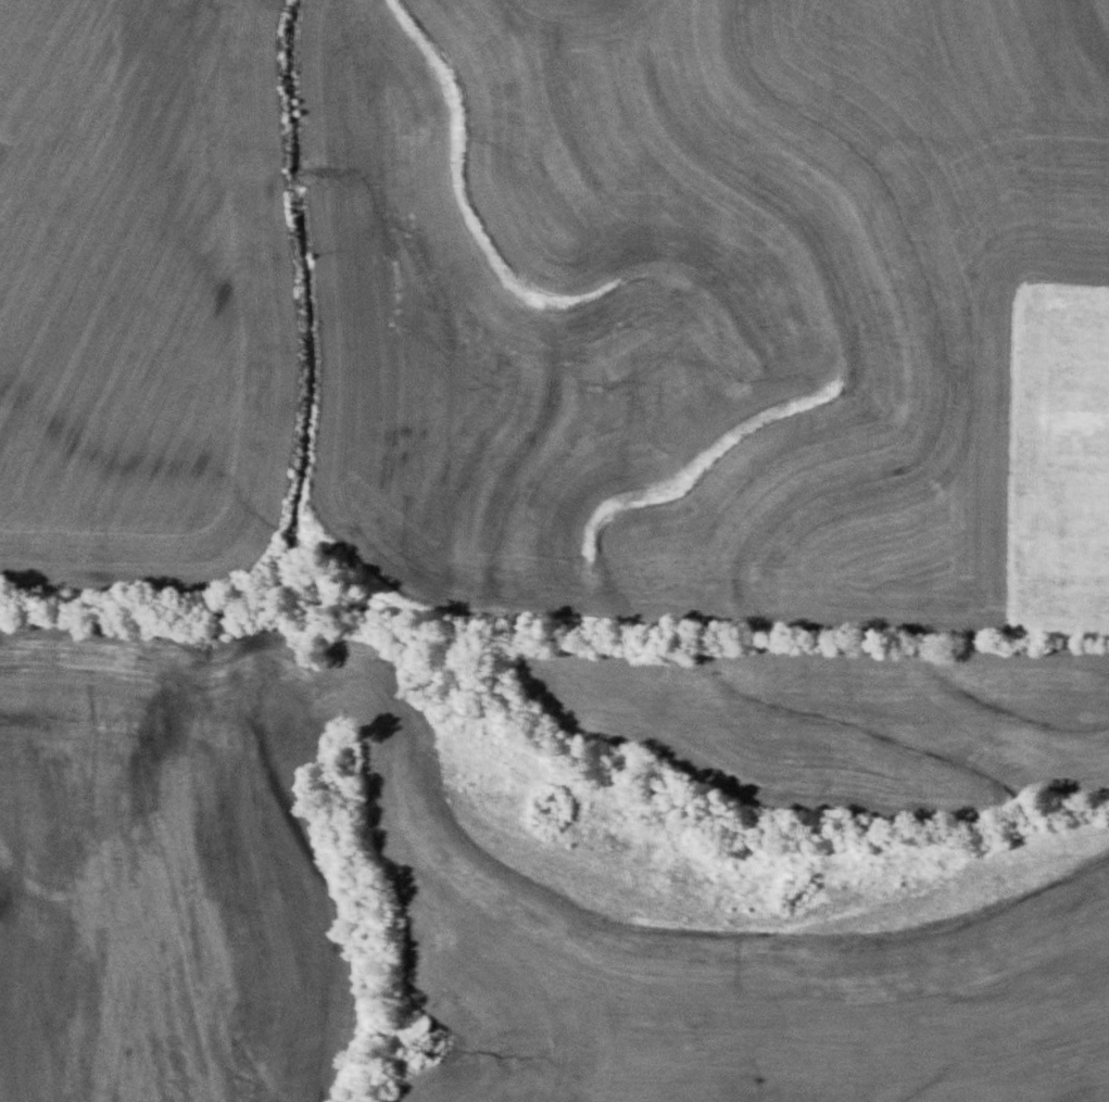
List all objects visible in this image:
river: (9, 885)

